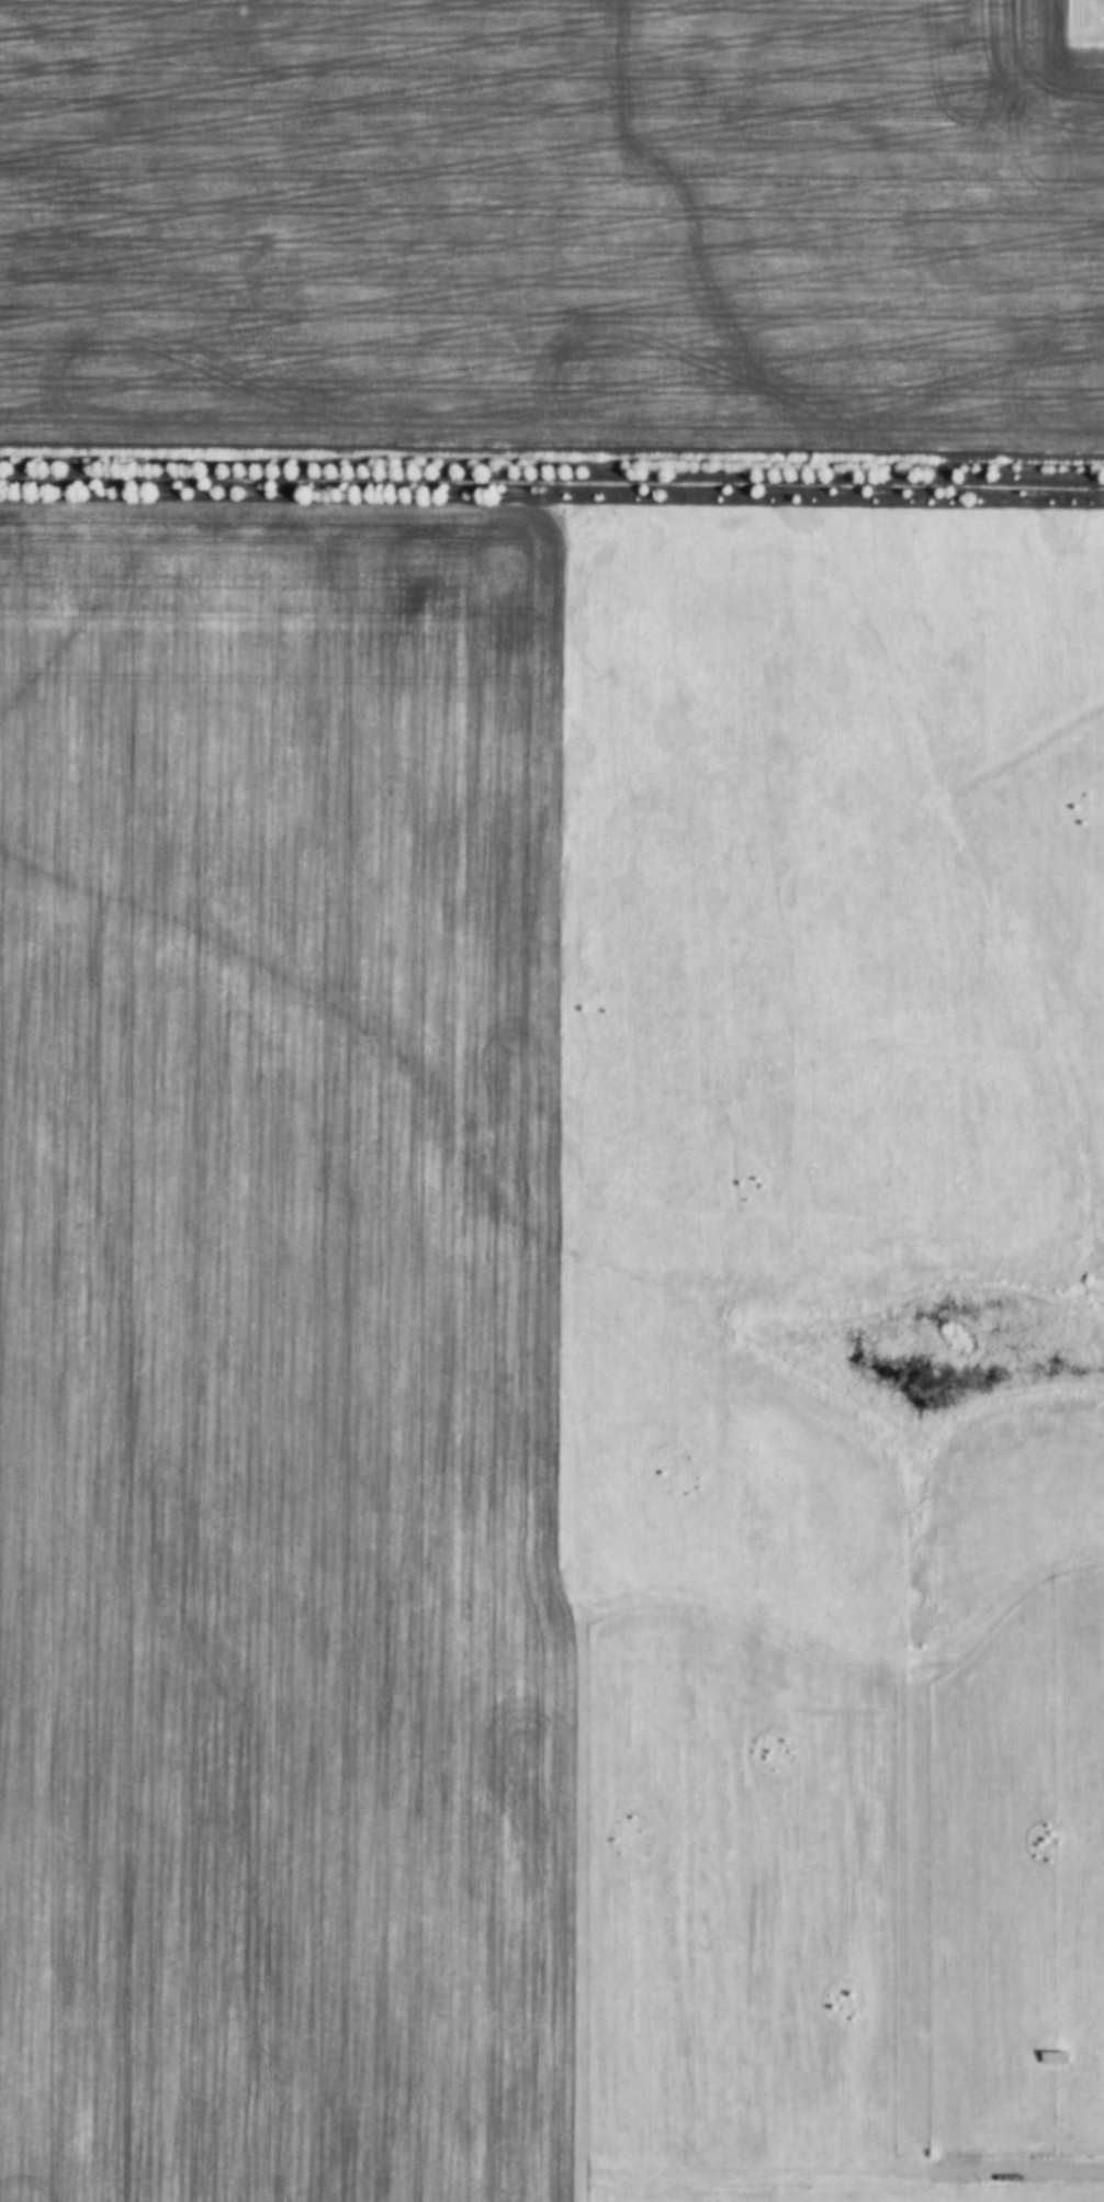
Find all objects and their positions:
building: (1060, 2058)

